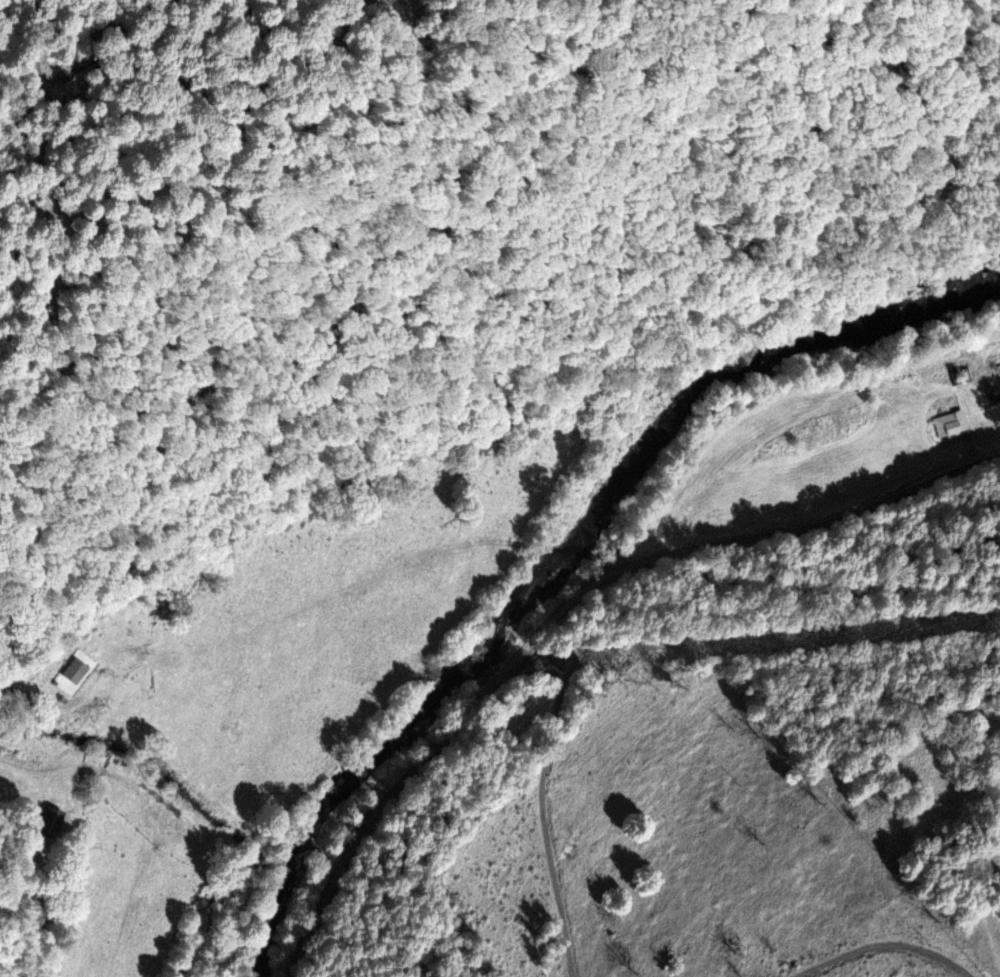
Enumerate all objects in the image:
building: (949, 424)
road: (887, 505)
river: (563, 553)
road: (813, 584)
road: (323, 606)
building: (72, 671)
road: (17, 691)
road: (481, 696)
road: (546, 807)
road: (879, 946)

